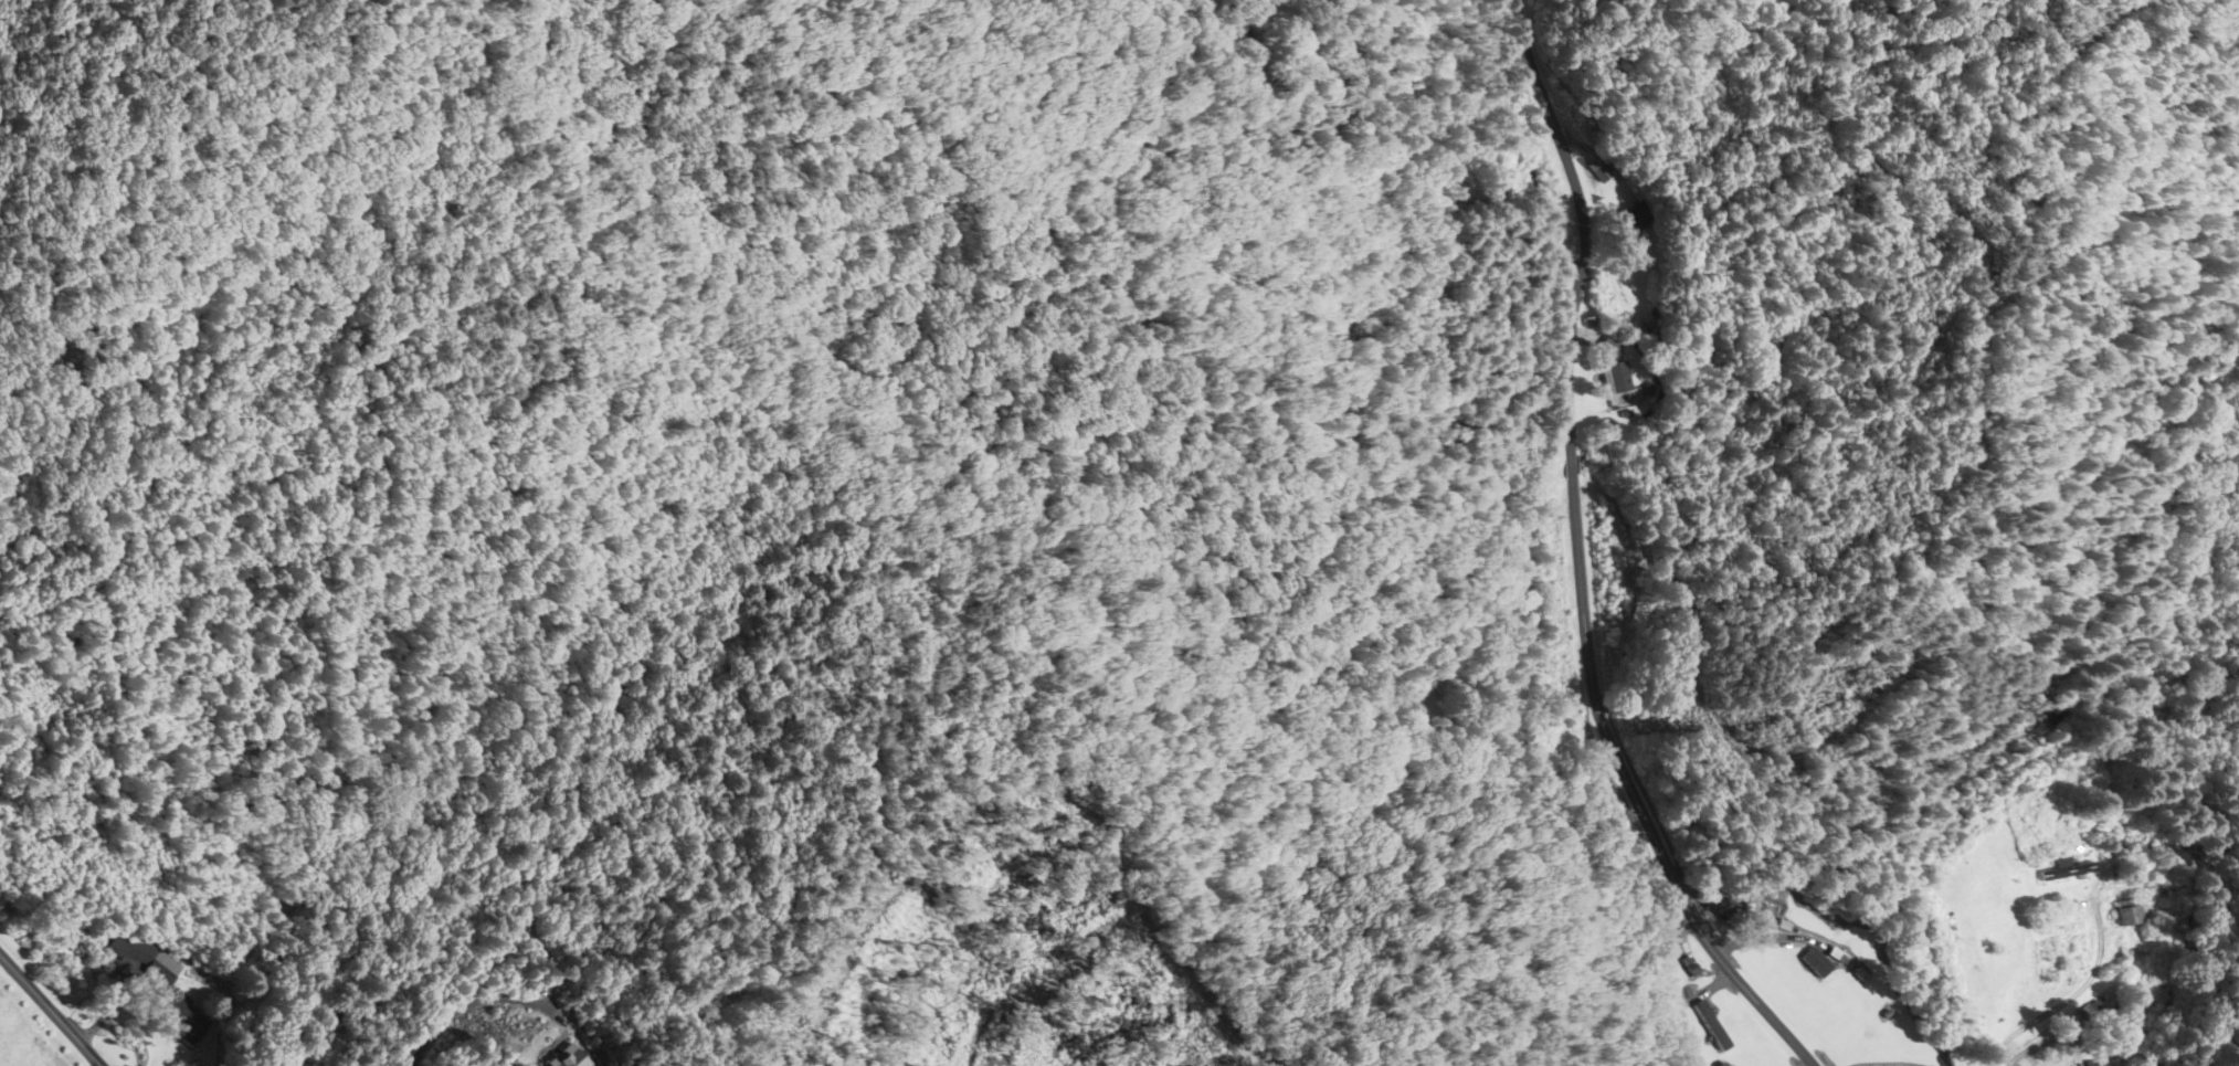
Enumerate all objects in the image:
building: (1493, 179)
building: (1634, 218)
building: (1614, 377)
road: (1543, 569)
building: (1881, 684)
building: (1820, 704)
building: (2056, 714)
building: (2062, 869)
building: (1719, 905)
building: (2126, 914)
building: (1666, 915)
building: (140, 959)
building: (1813, 962)
road: (2070, 995)
road: (472, 1002)
road: (51, 1010)
building: (1715, 1010)
road: (2040, 1041)
building: (563, 1057)
road: (1889, 1063)

